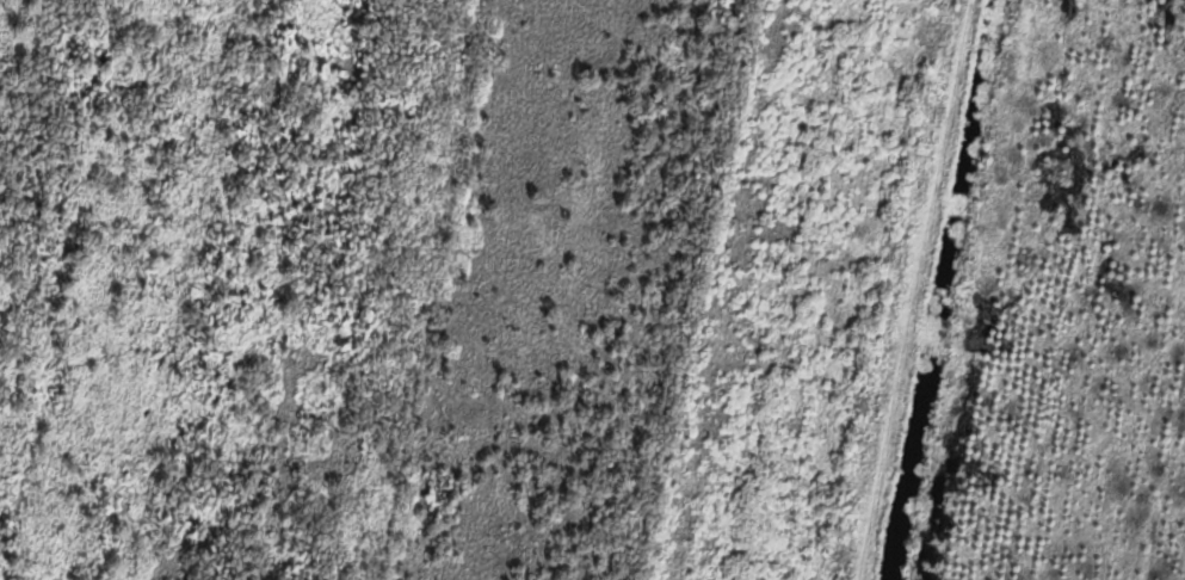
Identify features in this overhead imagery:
road: (914, 290)

